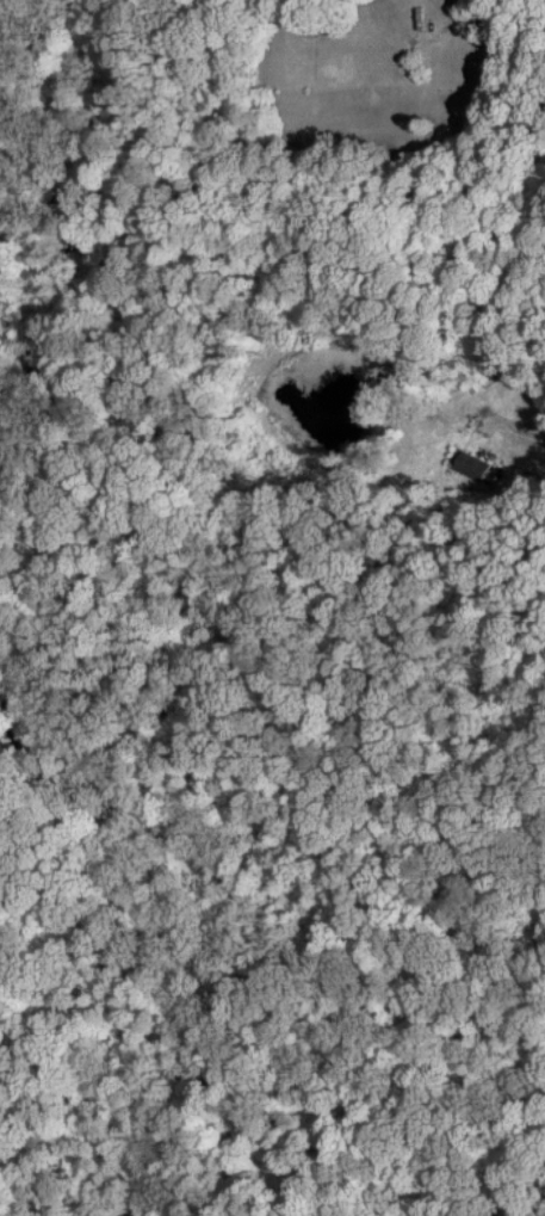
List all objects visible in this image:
building: (470, 464)

